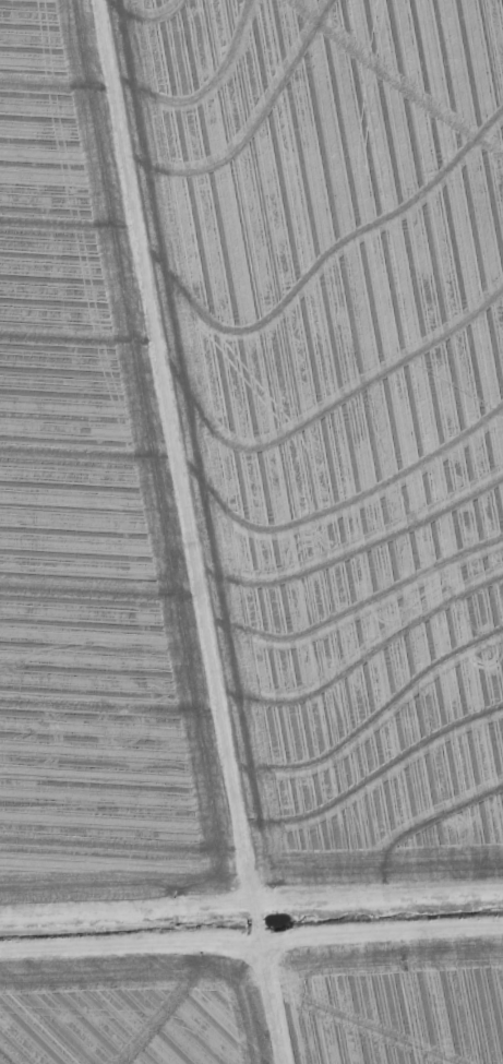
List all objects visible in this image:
road: (201, 531)
road: (251, 942)

